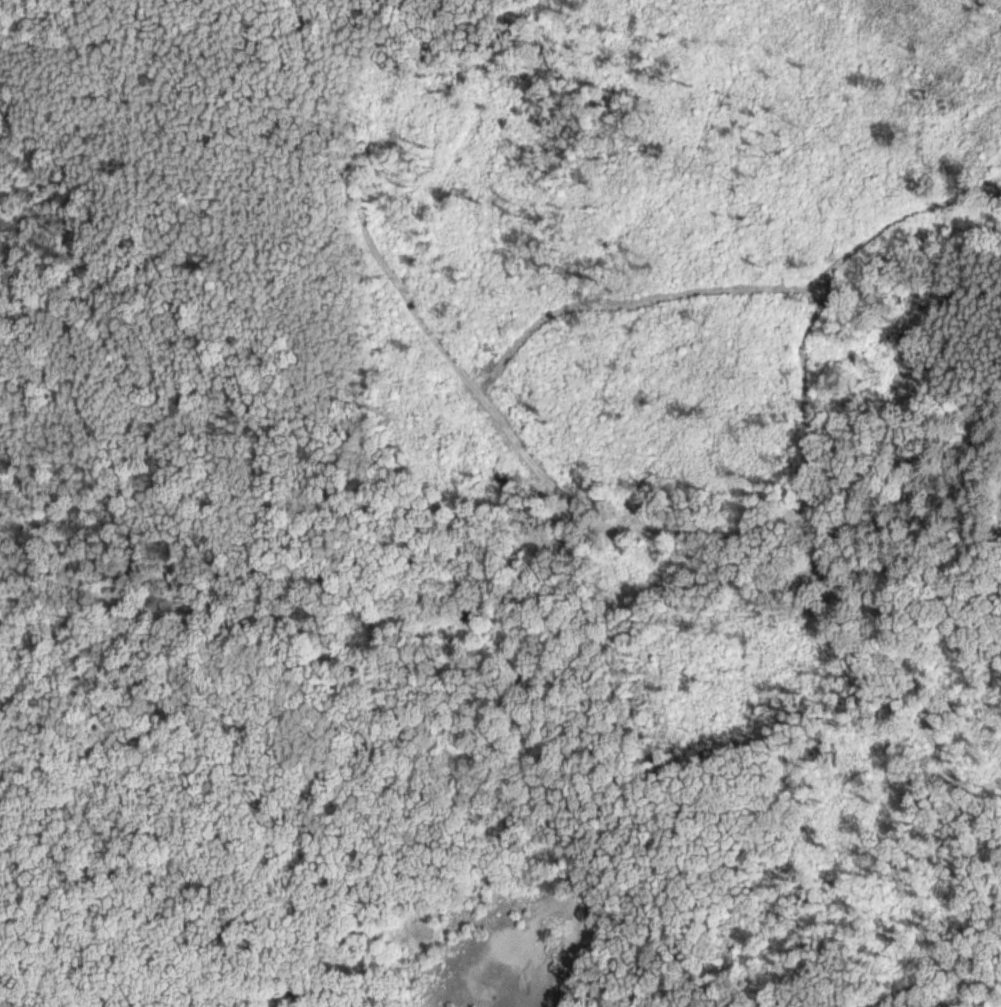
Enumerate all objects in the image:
road: (755, 169)
road: (950, 979)

